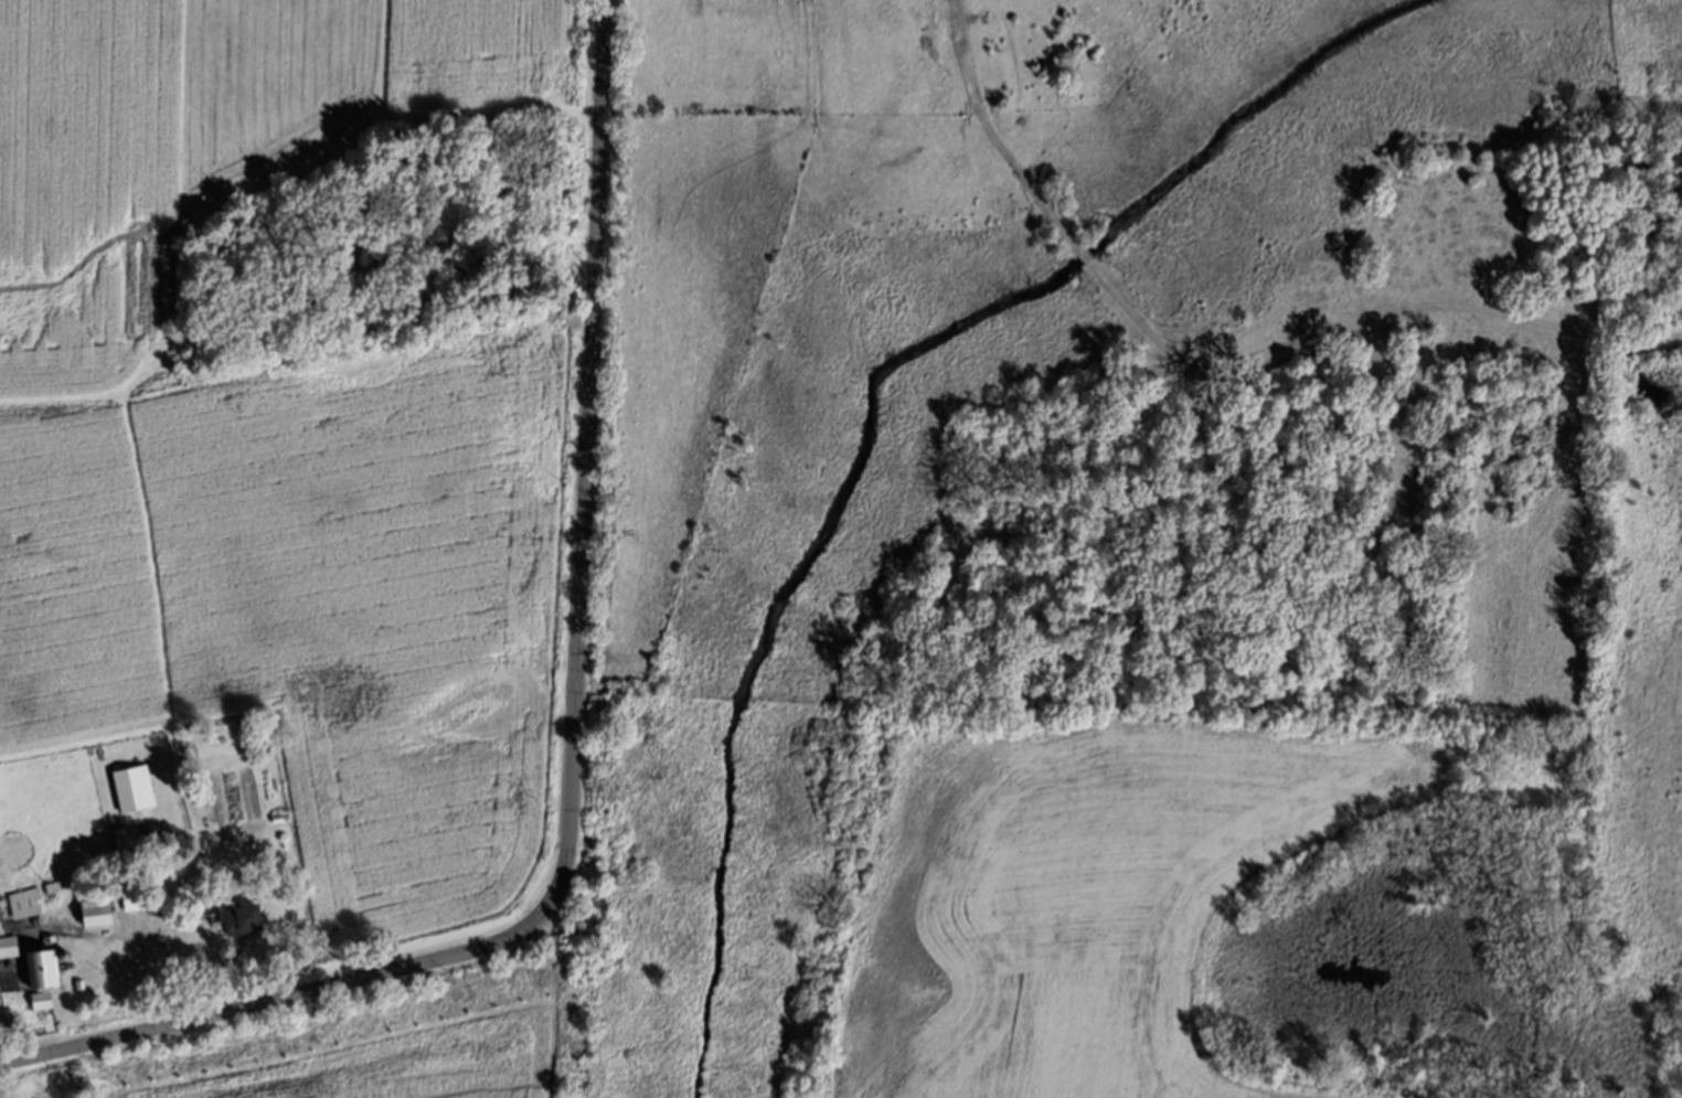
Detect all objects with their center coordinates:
road: (574, 745)
building: (136, 788)
building: (26, 903)
building: (105, 913)
building: (252, 919)
building: (10, 947)
building: (49, 969)
building: (44, 1000)

